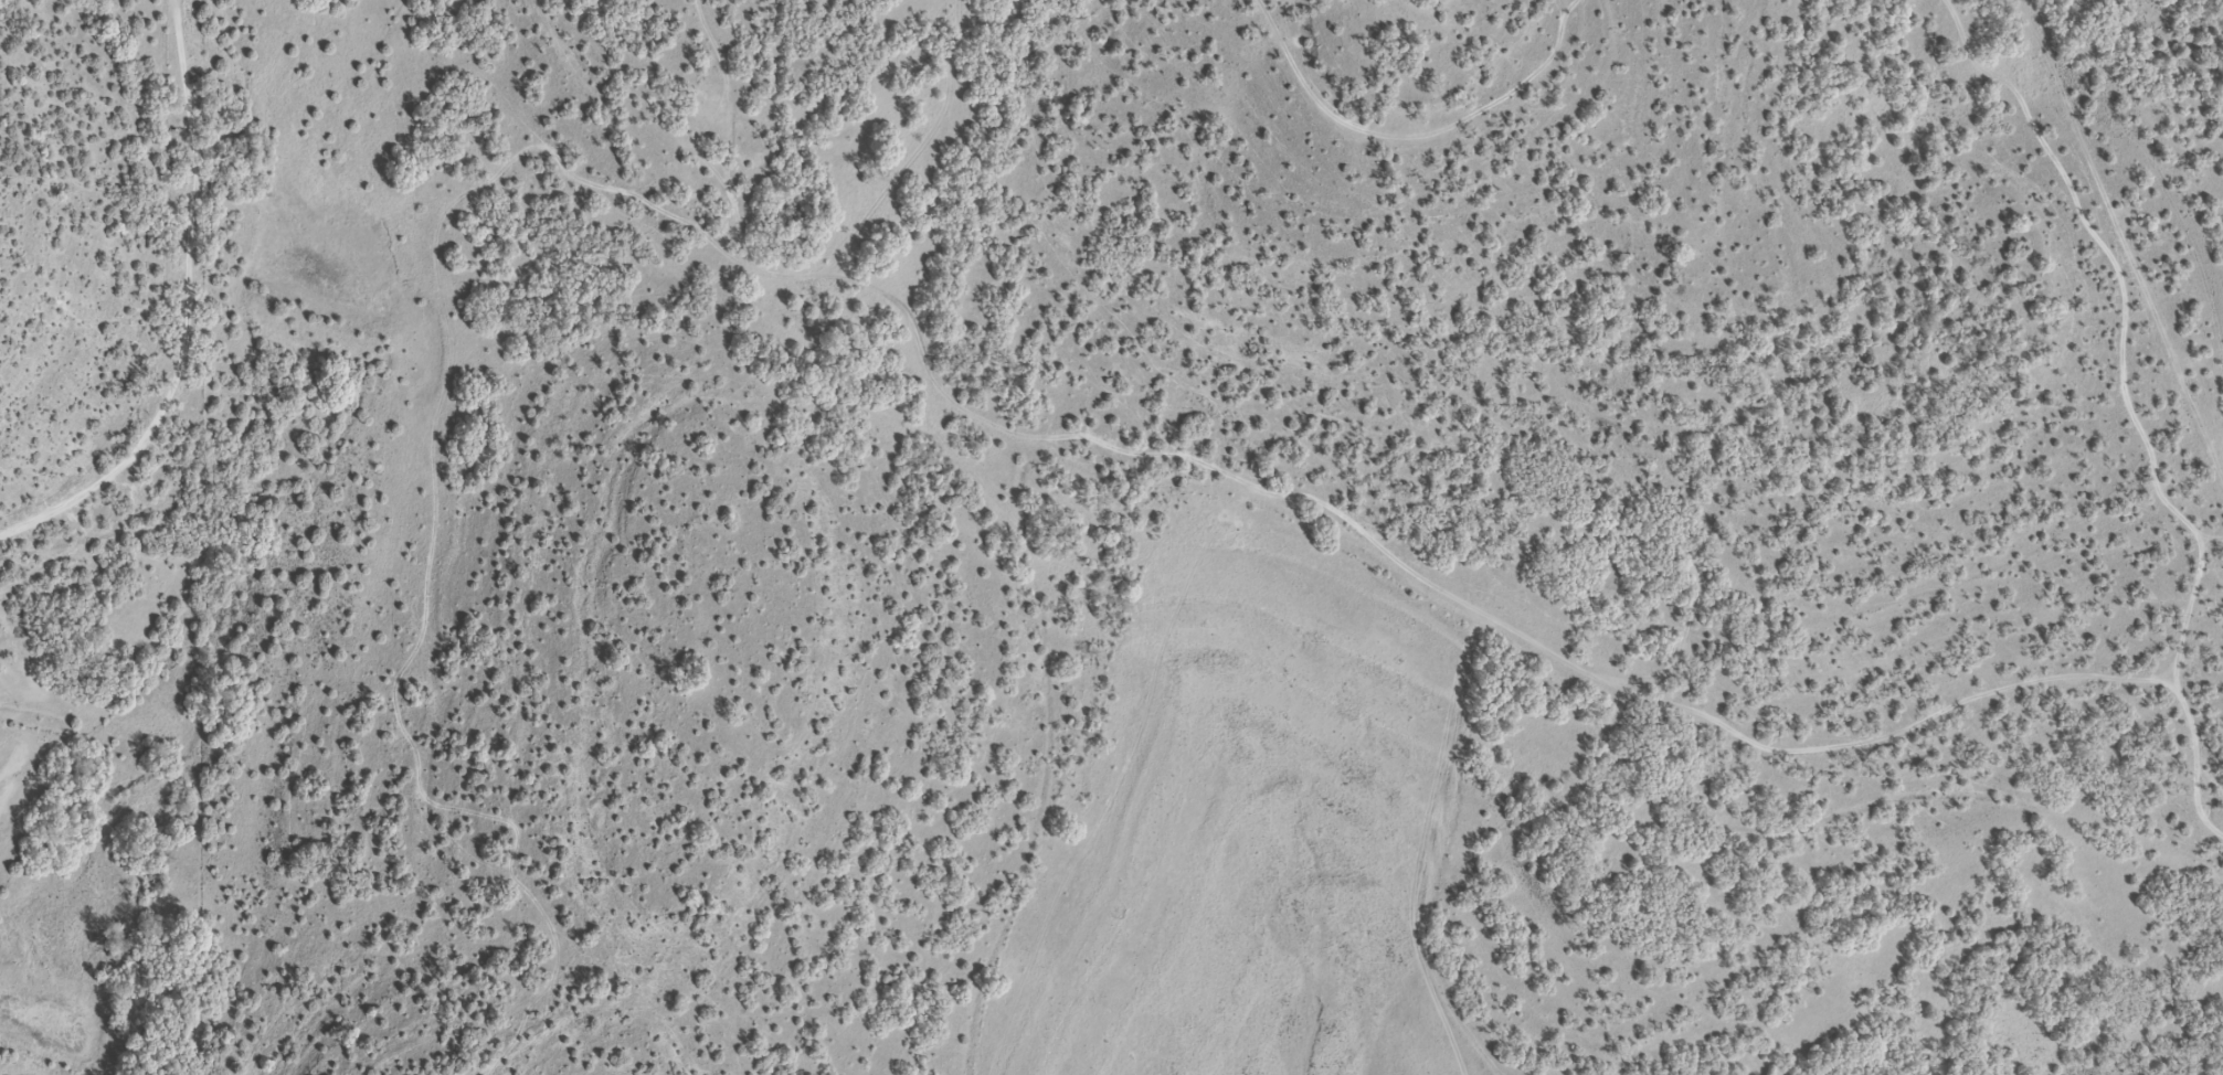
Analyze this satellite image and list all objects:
road: (195, 318)

